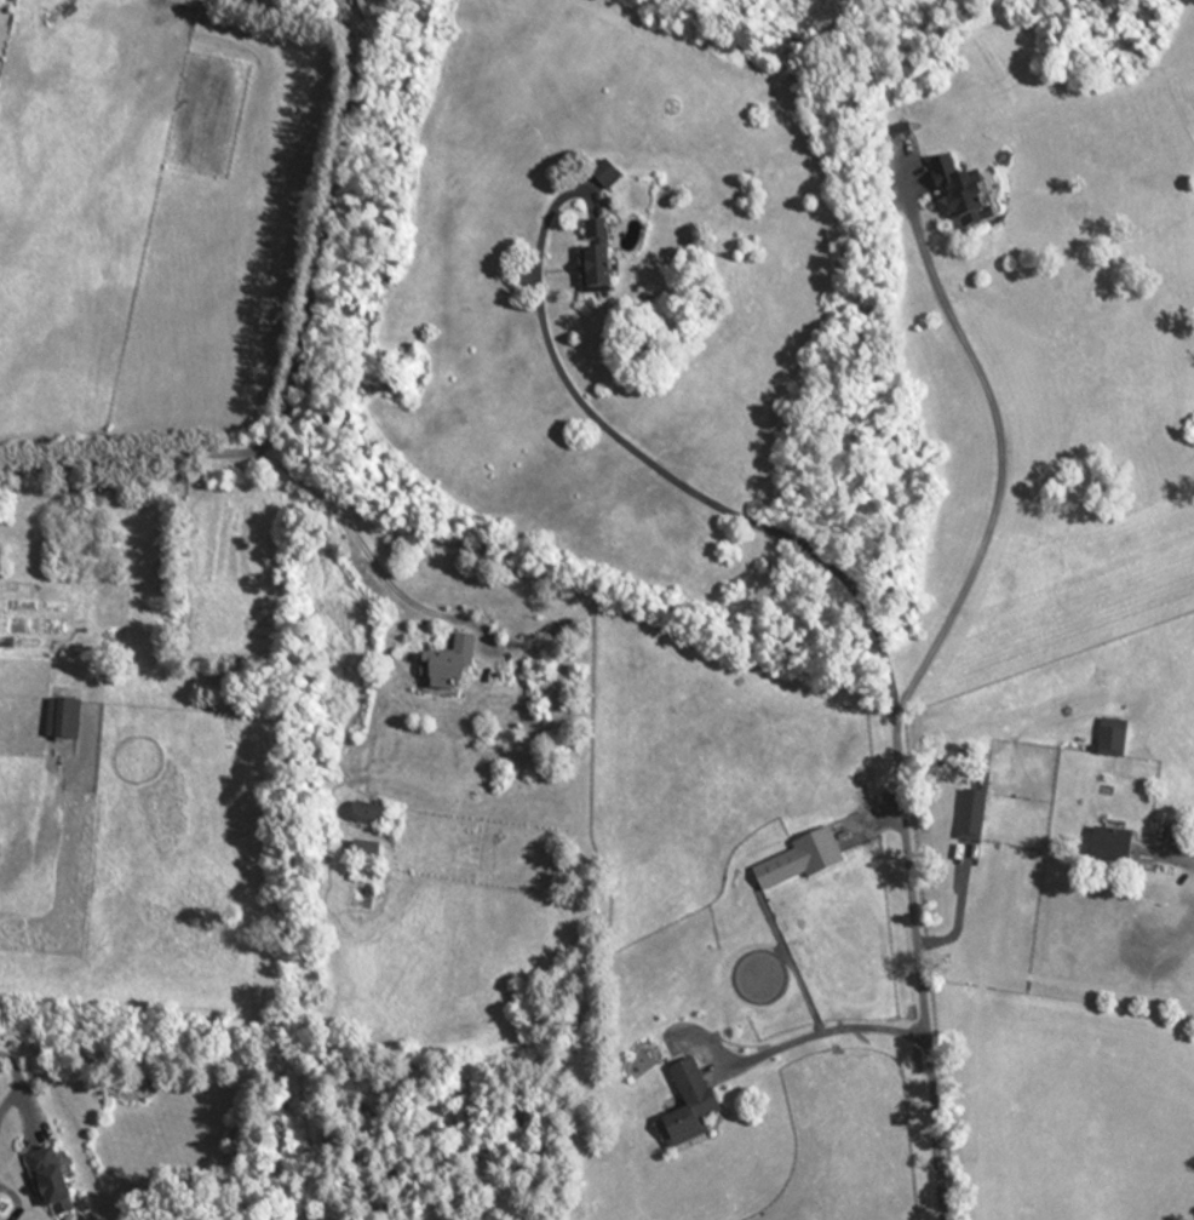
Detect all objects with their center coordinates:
building: (604, 177)
building: (961, 197)
road: (322, 233)
building: (593, 235)
building: (592, 274)
road: (997, 443)
road: (122, 462)
road: (676, 476)
road: (362, 542)
building: (446, 665)
building: (61, 721)
building: (1109, 741)
building: (980, 784)
building: (364, 818)
building: (969, 819)
building: (1109, 849)
building: (362, 855)
building: (797, 864)
road: (1188, 865)
road: (919, 968)
road: (821, 1031)
road: (13, 1079)
building: (685, 1106)
building: (47, 1182)

